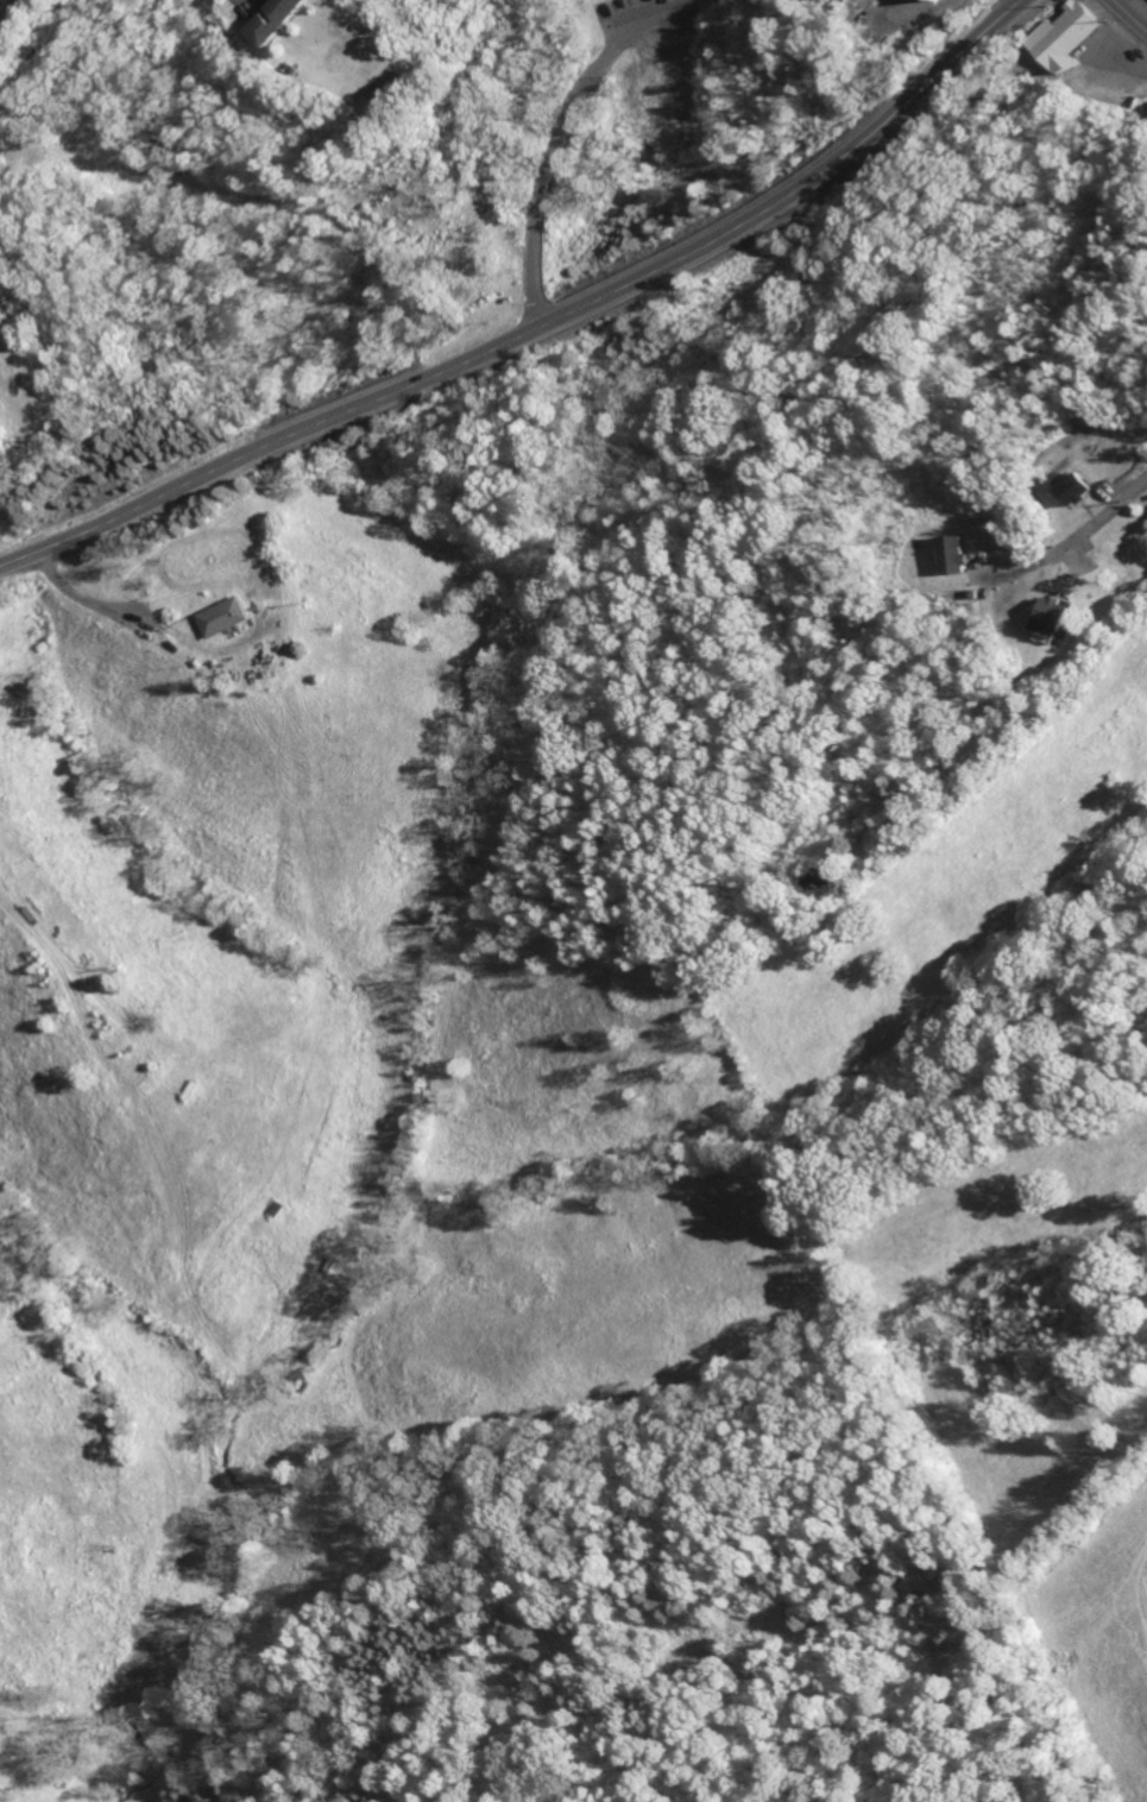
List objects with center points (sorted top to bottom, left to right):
building: (940, 0)
road: (604, 2)
road: (639, 10)
road: (1133, 12)
road: (11, 14)
building: (276, 20)
building: (1070, 38)
road: (573, 141)
road: (55, 247)
road: (543, 332)
building: (1078, 492)
road: (1109, 513)
building: (956, 556)
building: (228, 618)
building: (1054, 620)
road: (58, 998)

